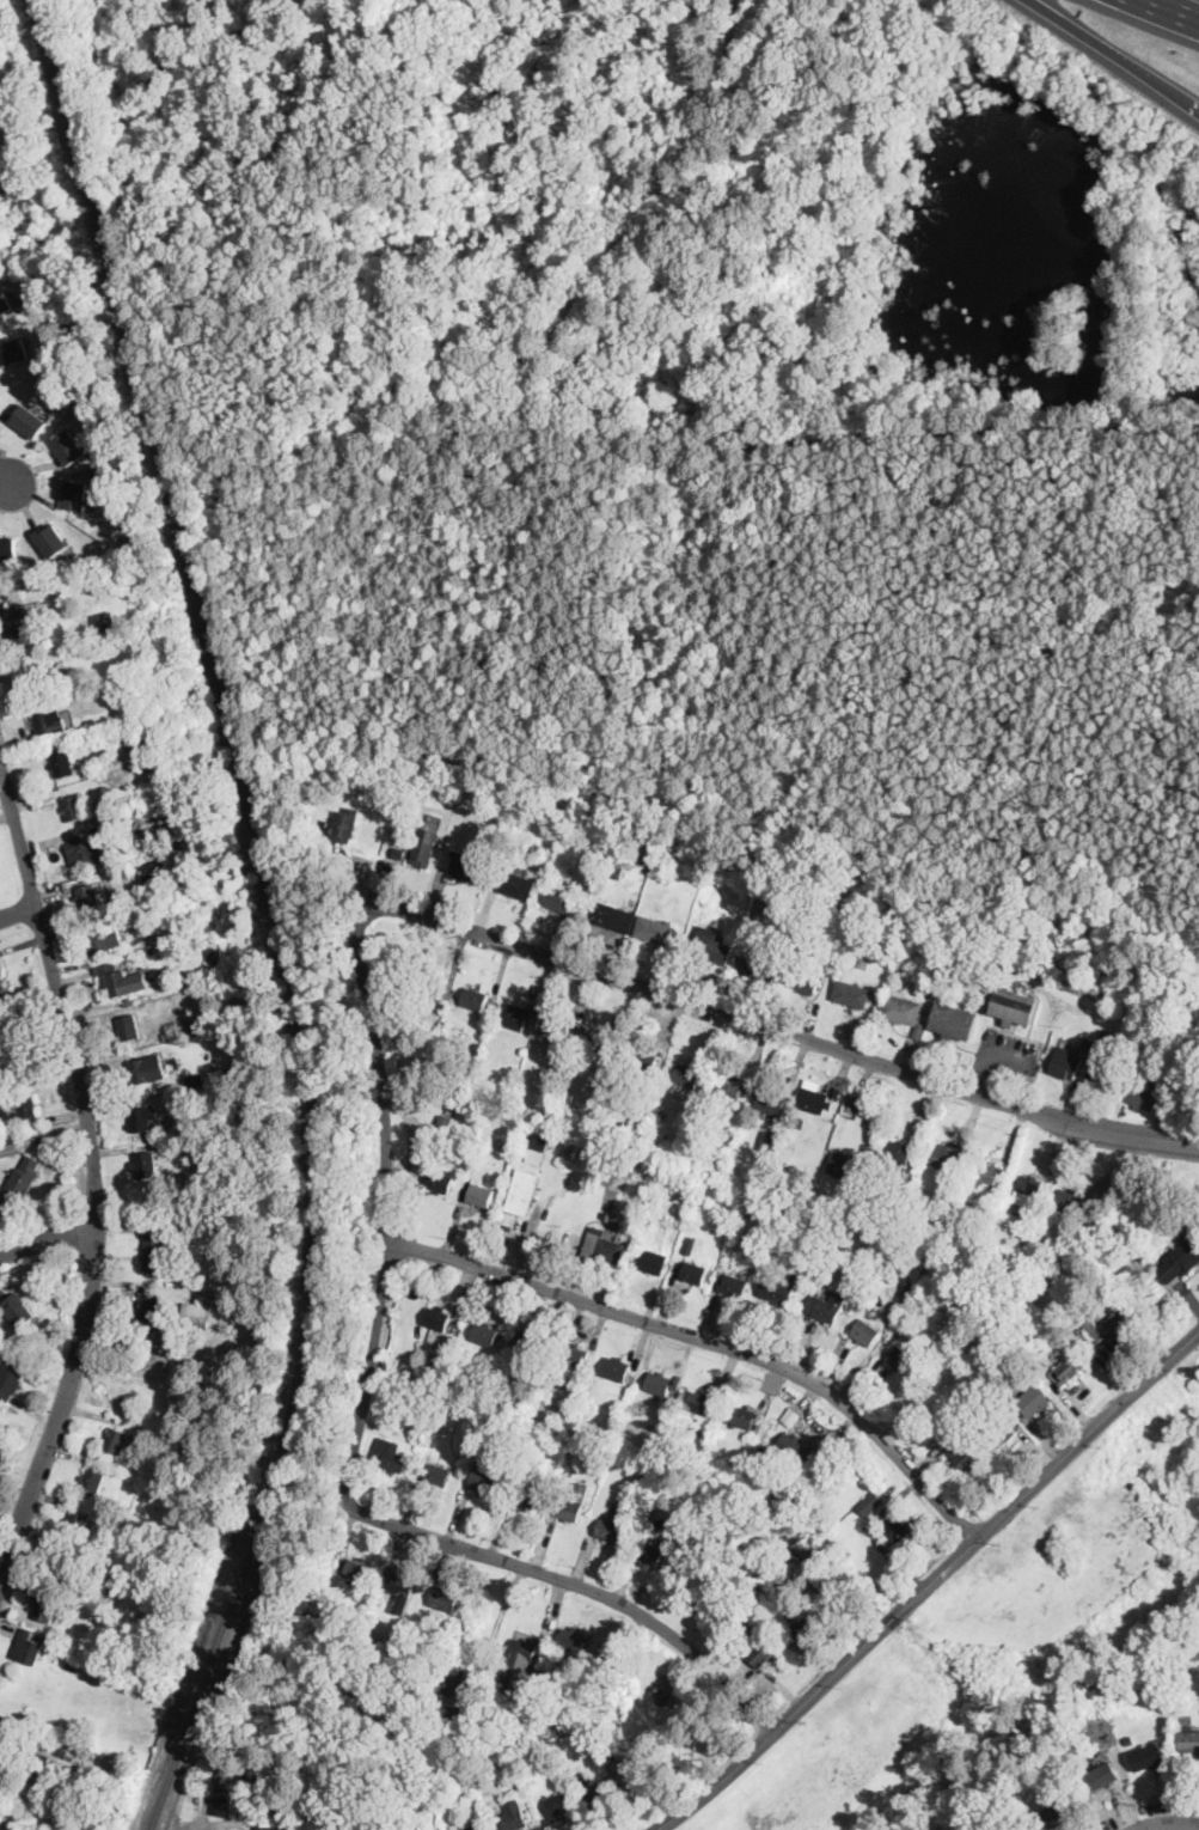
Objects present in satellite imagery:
road: (1183, 6)
road: (1114, 54)
building: (6, 304)
building: (14, 350)
building: (30, 421)
building: (68, 446)
road: (2, 452)
road: (12, 483)
building: (74, 495)
building: (53, 539)
building: (8, 548)
building: (145, 587)
building: (104, 616)
building: (19, 624)
building: (142, 657)
building: (39, 678)
building: (45, 718)
building: (91, 722)
building: (62, 763)
building: (73, 809)
building: (345, 825)
building: (160, 840)
building: (588, 840)
building: (190, 842)
building: (426, 844)
building: (93, 850)
building: (614, 865)
building: (467, 866)
building: (149, 870)
building: (519, 885)
building: (88, 897)
building: (557, 897)
road: (18, 911)
railway: (274, 914)
building: (613, 916)
building: (190, 919)
building: (655, 929)
building: (105, 940)
building: (712, 945)
building: (188, 950)
building: (800, 954)
building: (212, 964)
building: (764, 965)
building: (803, 978)
building: (122, 980)
building: (430, 984)
building: (4, 990)
building: (854, 994)
building: (475, 999)
building: (1015, 1006)
building: (903, 1008)
building: (516, 1017)
building: (955, 1021)
building: (128, 1027)
road: (772, 1027)
building: (923, 1027)
building: (1107, 1032)
building: (557, 1033)
building: (169, 1037)
building: (1089, 1042)
building: (601, 1047)
building: (13, 1055)
building: (644, 1061)
building: (1065, 1067)
building: (230, 1069)
building: (139, 1072)
building: (1183, 1074)
building: (687, 1075)
building: (1107, 1076)
building: (195, 1078)
building: (604, 1081)
building: (1146, 1081)
building: (729, 1088)
building: (1144, 1097)
building: (770, 1100)
building: (813, 1100)
building: (22, 1108)
building: (605, 1116)
building: (142, 1118)
building: (800, 1120)
building: (443, 1126)
building: (171, 1128)
building: (186, 1128)
building: (767, 1139)
building: (537, 1148)
building: (8, 1149)
building: (209, 1152)
building: (898, 1157)
building: (943, 1157)
building: (145, 1165)
building: (846, 1165)
road: (93, 1172)
building: (985, 1172)
building: (24, 1177)
building: (440, 1182)
building: (904, 1184)
building: (1028, 1189)
building: (481, 1192)
building: (522, 1192)
road: (387, 1200)
building: (819, 1201)
building: (1070, 1201)
building: (940, 1202)
building: (608, 1214)
building: (647, 1220)
building: (761, 1230)
road: (47, 1237)
building: (690, 1244)
building: (604, 1248)
building: (154, 1252)
building: (1181, 1256)
building: (634, 1257)
road: (36, 1258)
building: (800, 1258)
building: (652, 1261)
building: (695, 1273)
building: (228, 1275)
building: (1128, 1275)
building: (877, 1279)
building: (733, 1285)
building: (871, 1289)
building: (775, 1292)
building: (912, 1292)
building: (826, 1306)
building: (18, 1310)
building: (148, 1311)
building: (195, 1316)
building: (438, 1318)
building: (37, 1320)
building: (57, 1324)
building: (1111, 1324)
building: (25, 1331)
building: (865, 1332)
building: (484, 1334)
building: (532, 1341)
road: (706, 1347)
building: (573, 1355)
building: (434, 1358)
building: (901, 1360)
building: (616, 1368)
building: (1068, 1370)
building: (11, 1378)
building: (1027, 1378)
building: (557, 1379)
building: (661, 1383)
building: (928, 1398)
building: (1034, 1401)
building: (699, 1403)
building: (1015, 1405)
building: (977, 1411)
building: (744, 1416)
building: (790, 1416)
building: (997, 1433)
building: (116, 1440)
building: (795, 1448)
building: (964, 1453)
building: (389, 1456)
building: (760, 1460)
building: (438, 1475)
building: (483, 1478)
building: (92, 1481)
building: (525, 1495)
building: (870, 1502)
building: (573, 1503)
building: (77, 1524)
building: (897, 1529)
building: (610, 1530)
building: (805, 1545)
building: (649, 1554)
building: (342, 1564)
building: (60, 1566)
building: (357, 1569)
road: (928, 1584)
road: (575, 1585)
building: (399, 1588)
building: (445, 1598)
building: (45, 1608)
building: (393, 1619)
road: (497, 1621)
building: (744, 1622)
building: (760, 1623)
building: (805, 1623)
building: (378, 1637)
building: (574, 1640)
building: (27, 1647)
building: (522, 1649)
building: (765, 1649)
building: (73, 1664)
building: (457, 1686)
building: (663, 1698)
building: (685, 1715)
building: (617, 1724)
building: (10, 1738)
building: (1130, 1740)
building: (1189, 1740)
building: (598, 1741)
building: (90, 1756)
building: (537, 1756)
building: (1148, 1757)
building: (39, 1761)
building: (275, 1763)
building: (494, 1763)
building: (648, 1763)
building: (224, 1773)
building: (398, 1776)
building: (1102, 1776)
building: (369, 1781)
building: (0, 1786)
building: (606, 1788)
building: (279, 1792)
building: (488, 1797)
building: (224, 1801)
building: (558, 1805)
building: (399, 1806)
building: (1059, 1811)
building: (512, 1817)
building: (277, 1819)
road: (1167, 1822)
building: (273, 1828)
building: (414, 1828)
building: (471, 1828)

